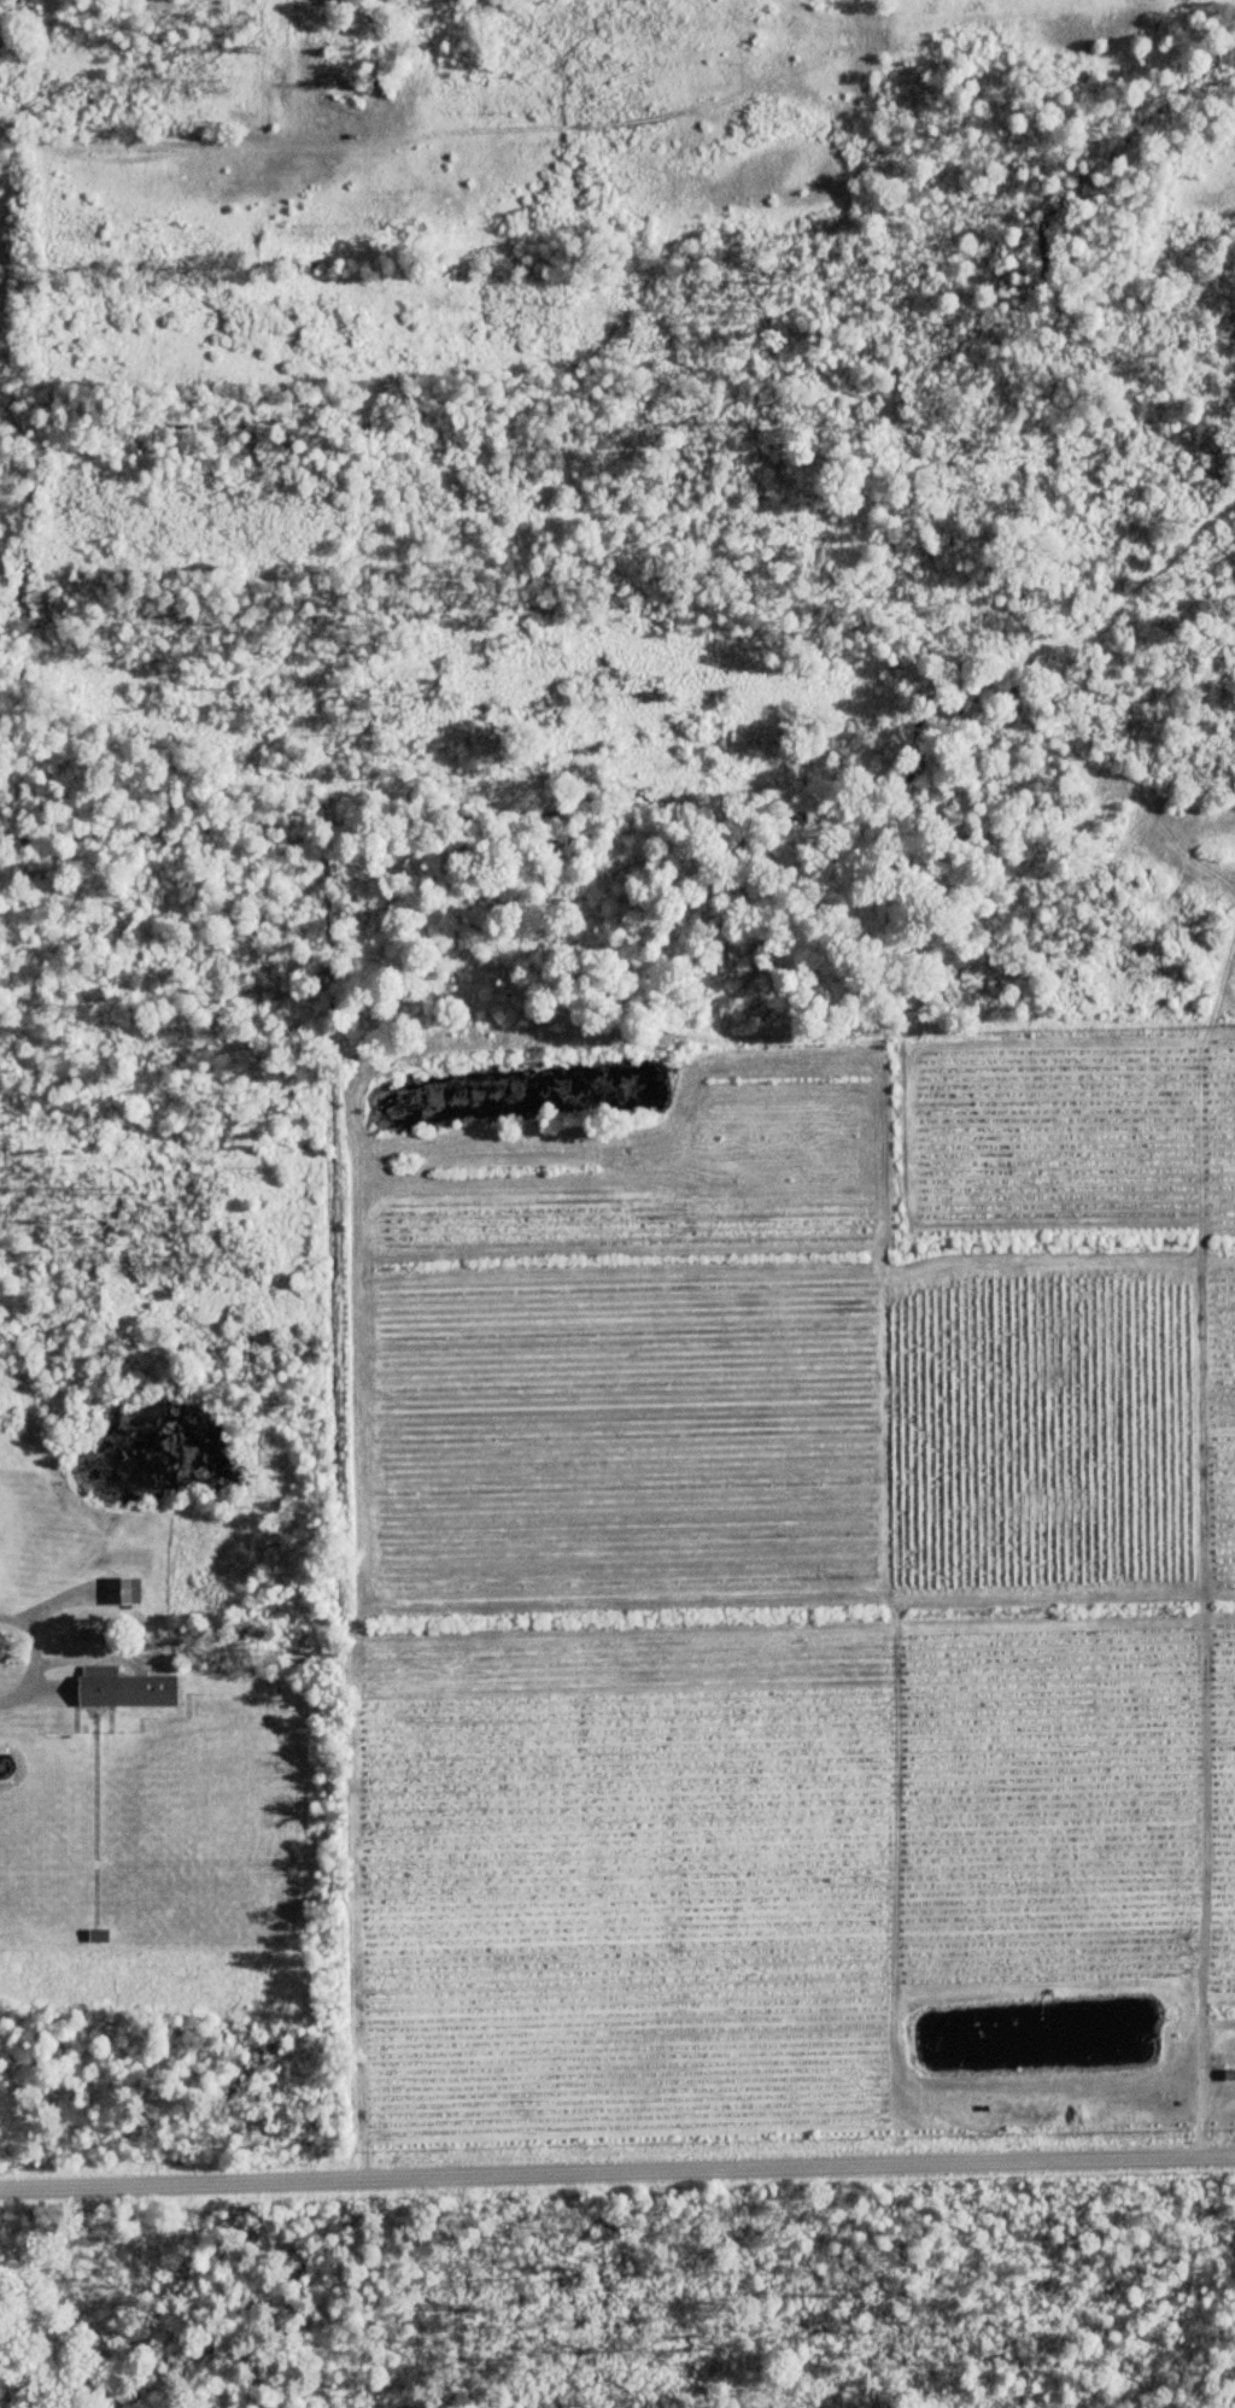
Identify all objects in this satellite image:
building: (124, 1592)
road: (35, 1656)
building: (125, 1688)
building: (99, 1937)
building: (1230, 2075)
road: (1201, 2090)
road: (616, 2173)

